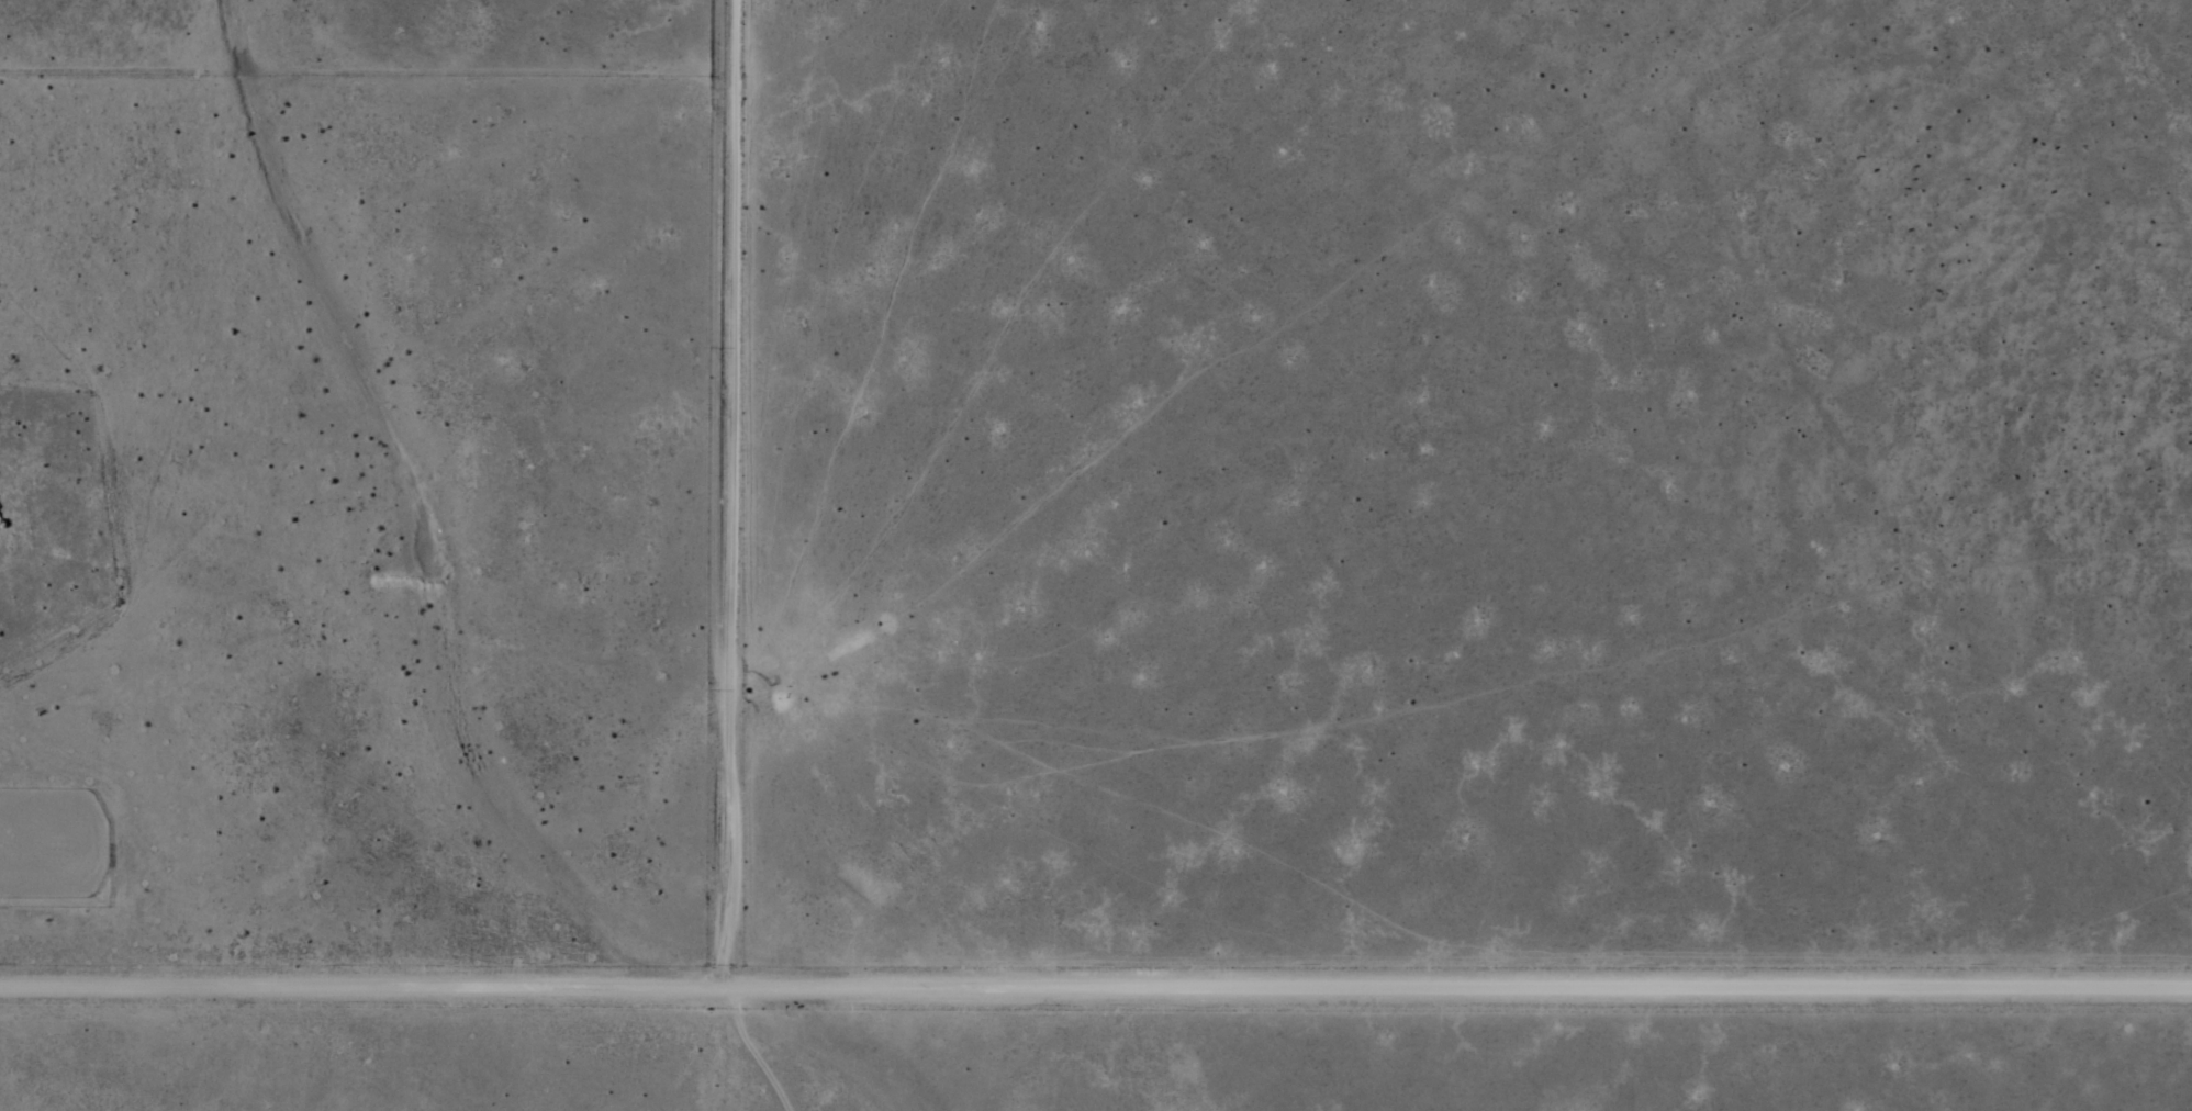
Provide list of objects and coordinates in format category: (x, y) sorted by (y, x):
road: (718, 496)
road: (1096, 994)

